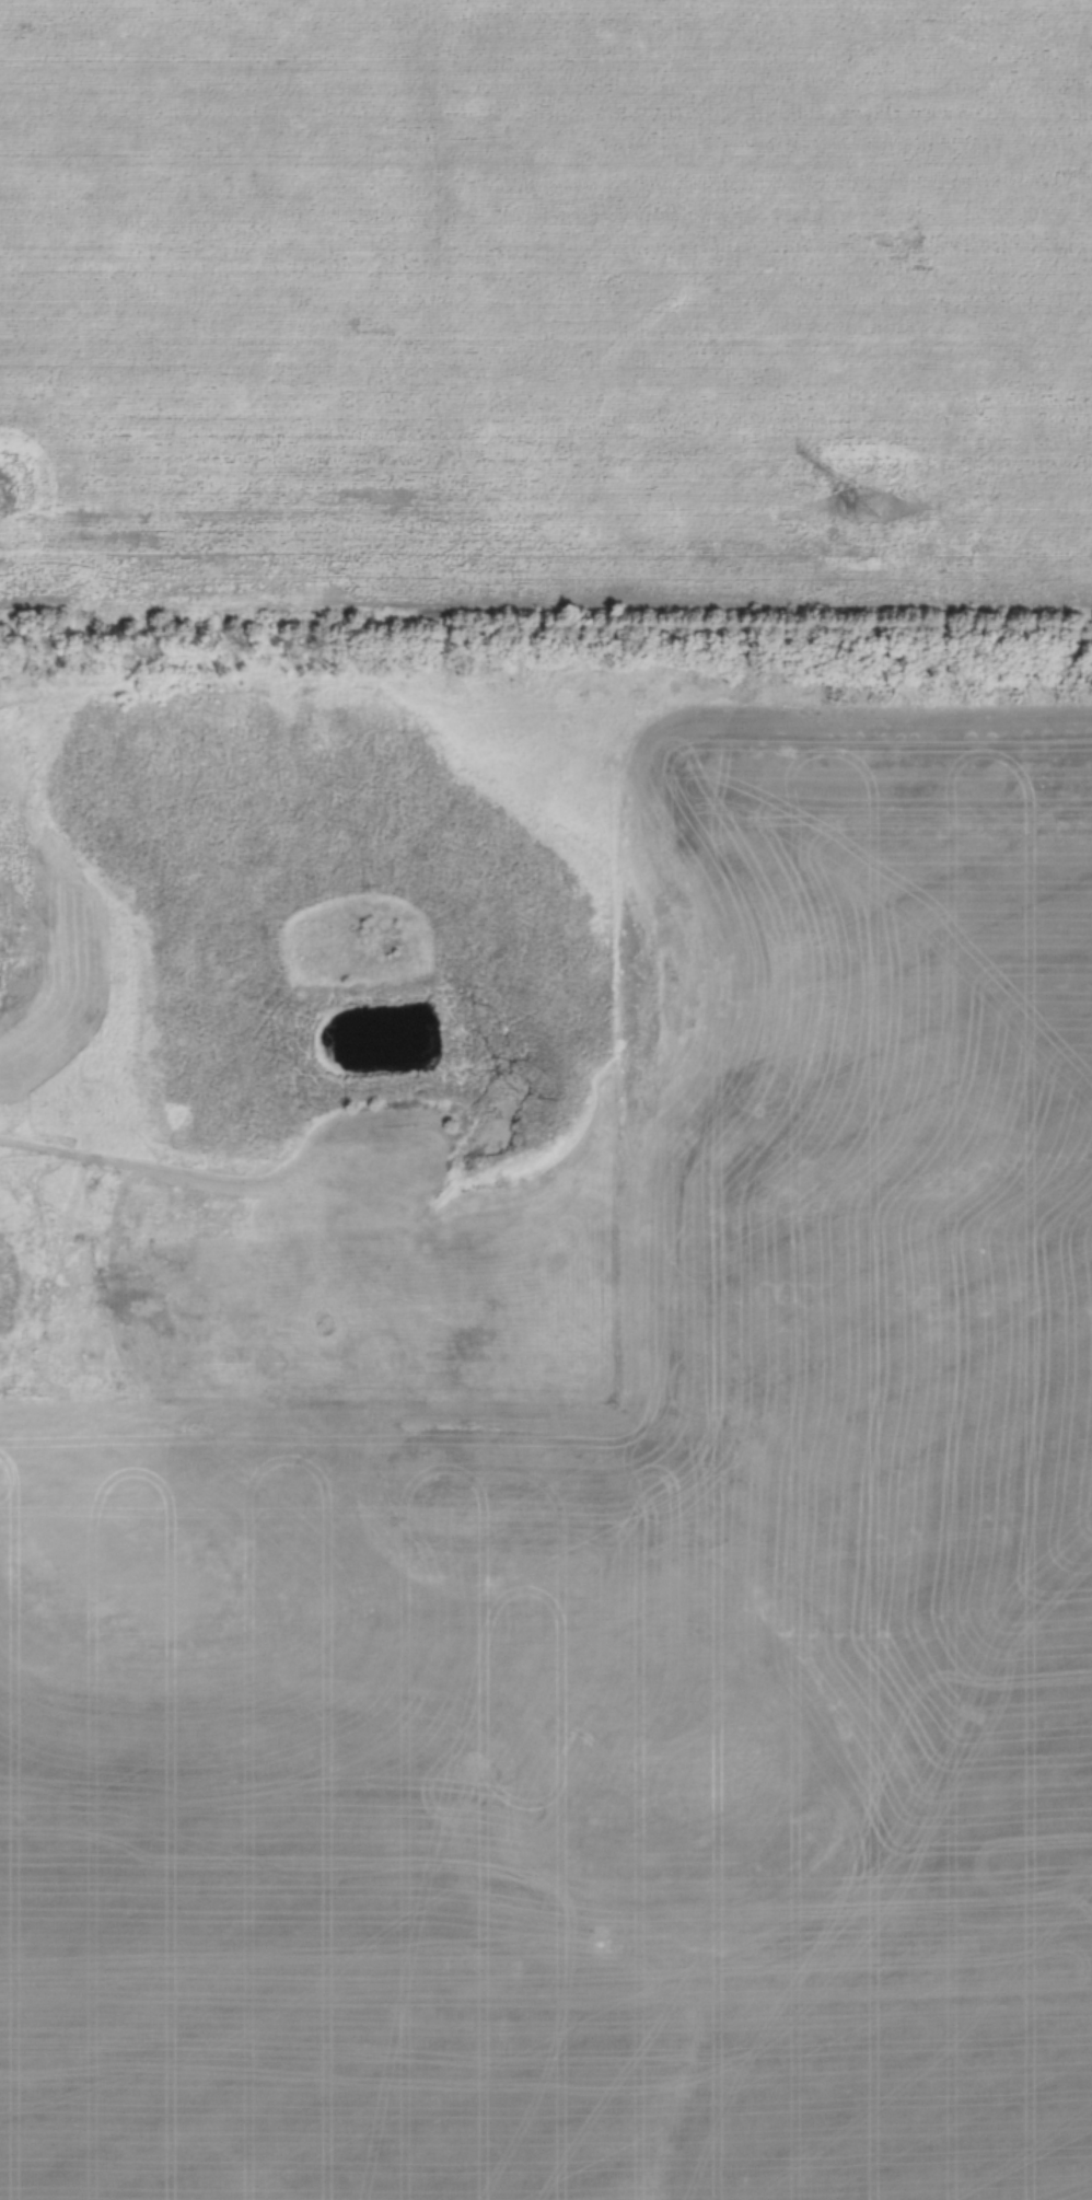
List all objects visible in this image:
power tower: (864, 505)

